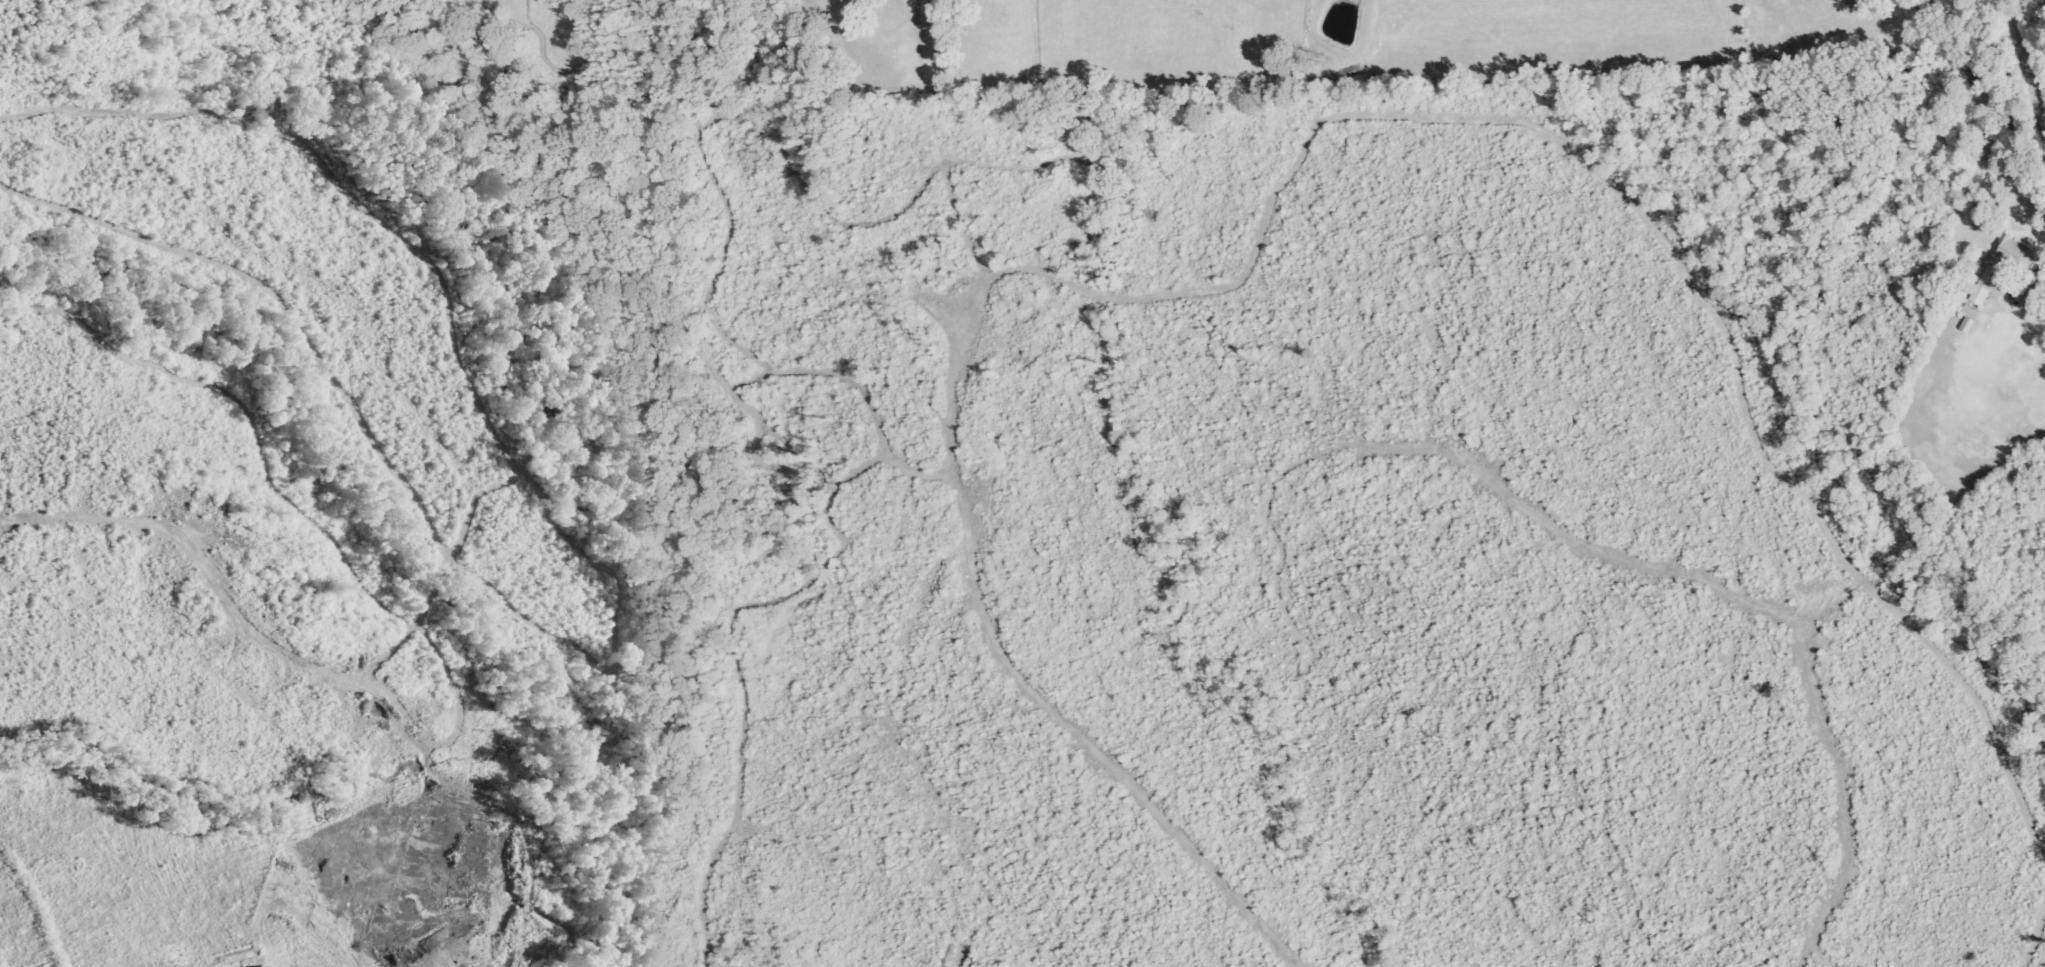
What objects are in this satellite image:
road: (1978, 98)
building: (2010, 253)
building: (1985, 285)
road: (1189, 869)

